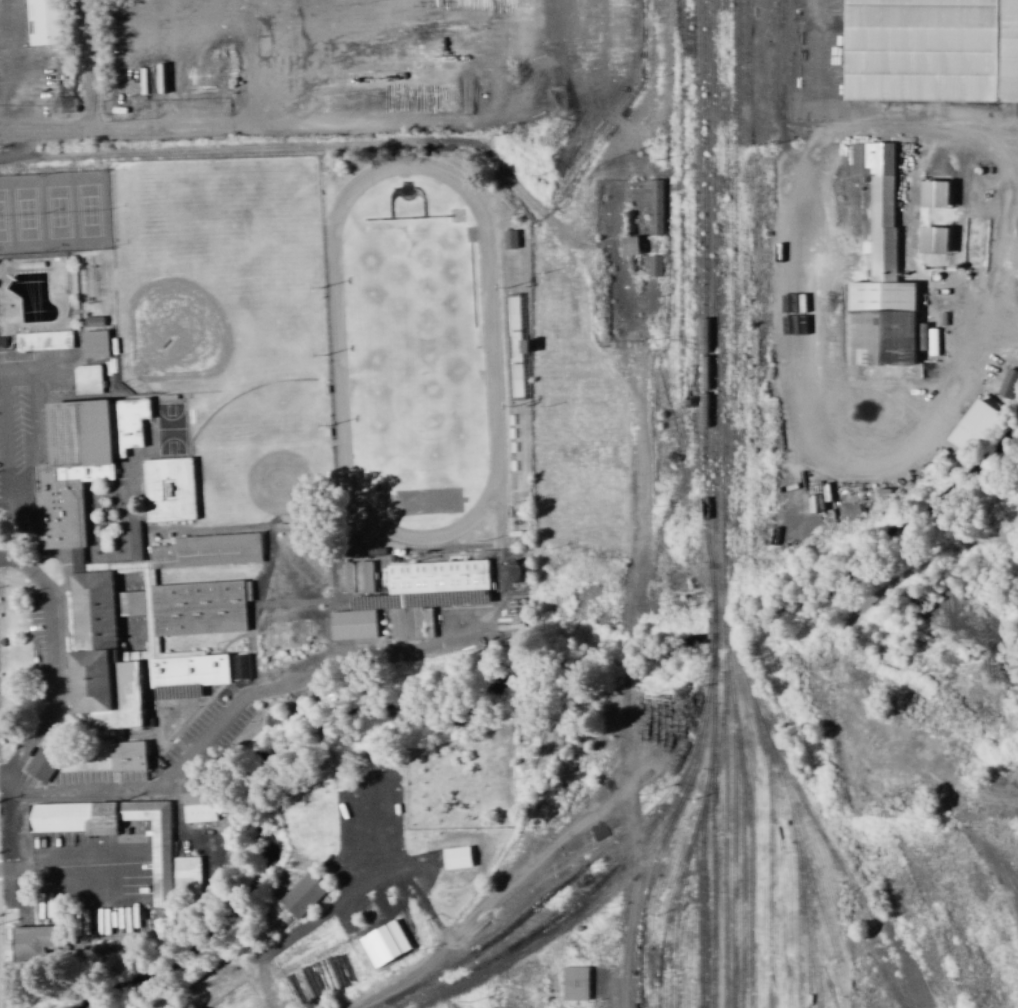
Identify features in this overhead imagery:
building: (45, 22)
building: (931, 51)
road: (88, 66)
railway: (713, 96)
railway: (723, 96)
building: (63, 100)
road: (235, 129)
road: (288, 150)
building: (933, 194)
park: (56, 213)
building: (510, 239)
building: (934, 240)
building: (629, 246)
railway: (693, 252)
building: (654, 266)
railway: (701, 267)
park: (219, 270)
building: (880, 273)
railway: (718, 338)
building: (43, 341)
building: (94, 344)
railway: (722, 349)
track: (337, 352)
park: (413, 352)
track: (414, 352)
road: (33, 373)
building: (87, 380)
building: (1008, 384)
railway: (667, 402)
road: (882, 424)
building: (975, 425)
road: (32, 444)
road: (4, 447)
park: (259, 454)
building: (80, 464)
building: (168, 489)
railway: (722, 503)
building: (207, 551)
building: (510, 574)
building: (347, 577)
building: (426, 594)
railway: (712, 600)
building: (352, 625)
building: (93, 643)
road: (53, 667)
building: (240, 667)
railway: (743, 676)
railway: (718, 751)
building: (127, 757)
building: (41, 766)
road: (175, 772)
building: (197, 801)
railway: (747, 825)
building: (121, 836)
railway: (662, 839)
railway: (732, 849)
railway: (767, 851)
railway: (681, 866)
road: (70, 867)
railway: (613, 868)
railway: (740, 874)
building: (186, 875)
railway: (843, 880)
railway: (810, 881)
building: (302, 896)
railway: (698, 902)
railway: (535, 906)
railway: (806, 912)
railway: (564, 927)
railway: (795, 930)
railway: (671, 934)
railway: (804, 940)
building: (45, 943)
building: (585, 985)

